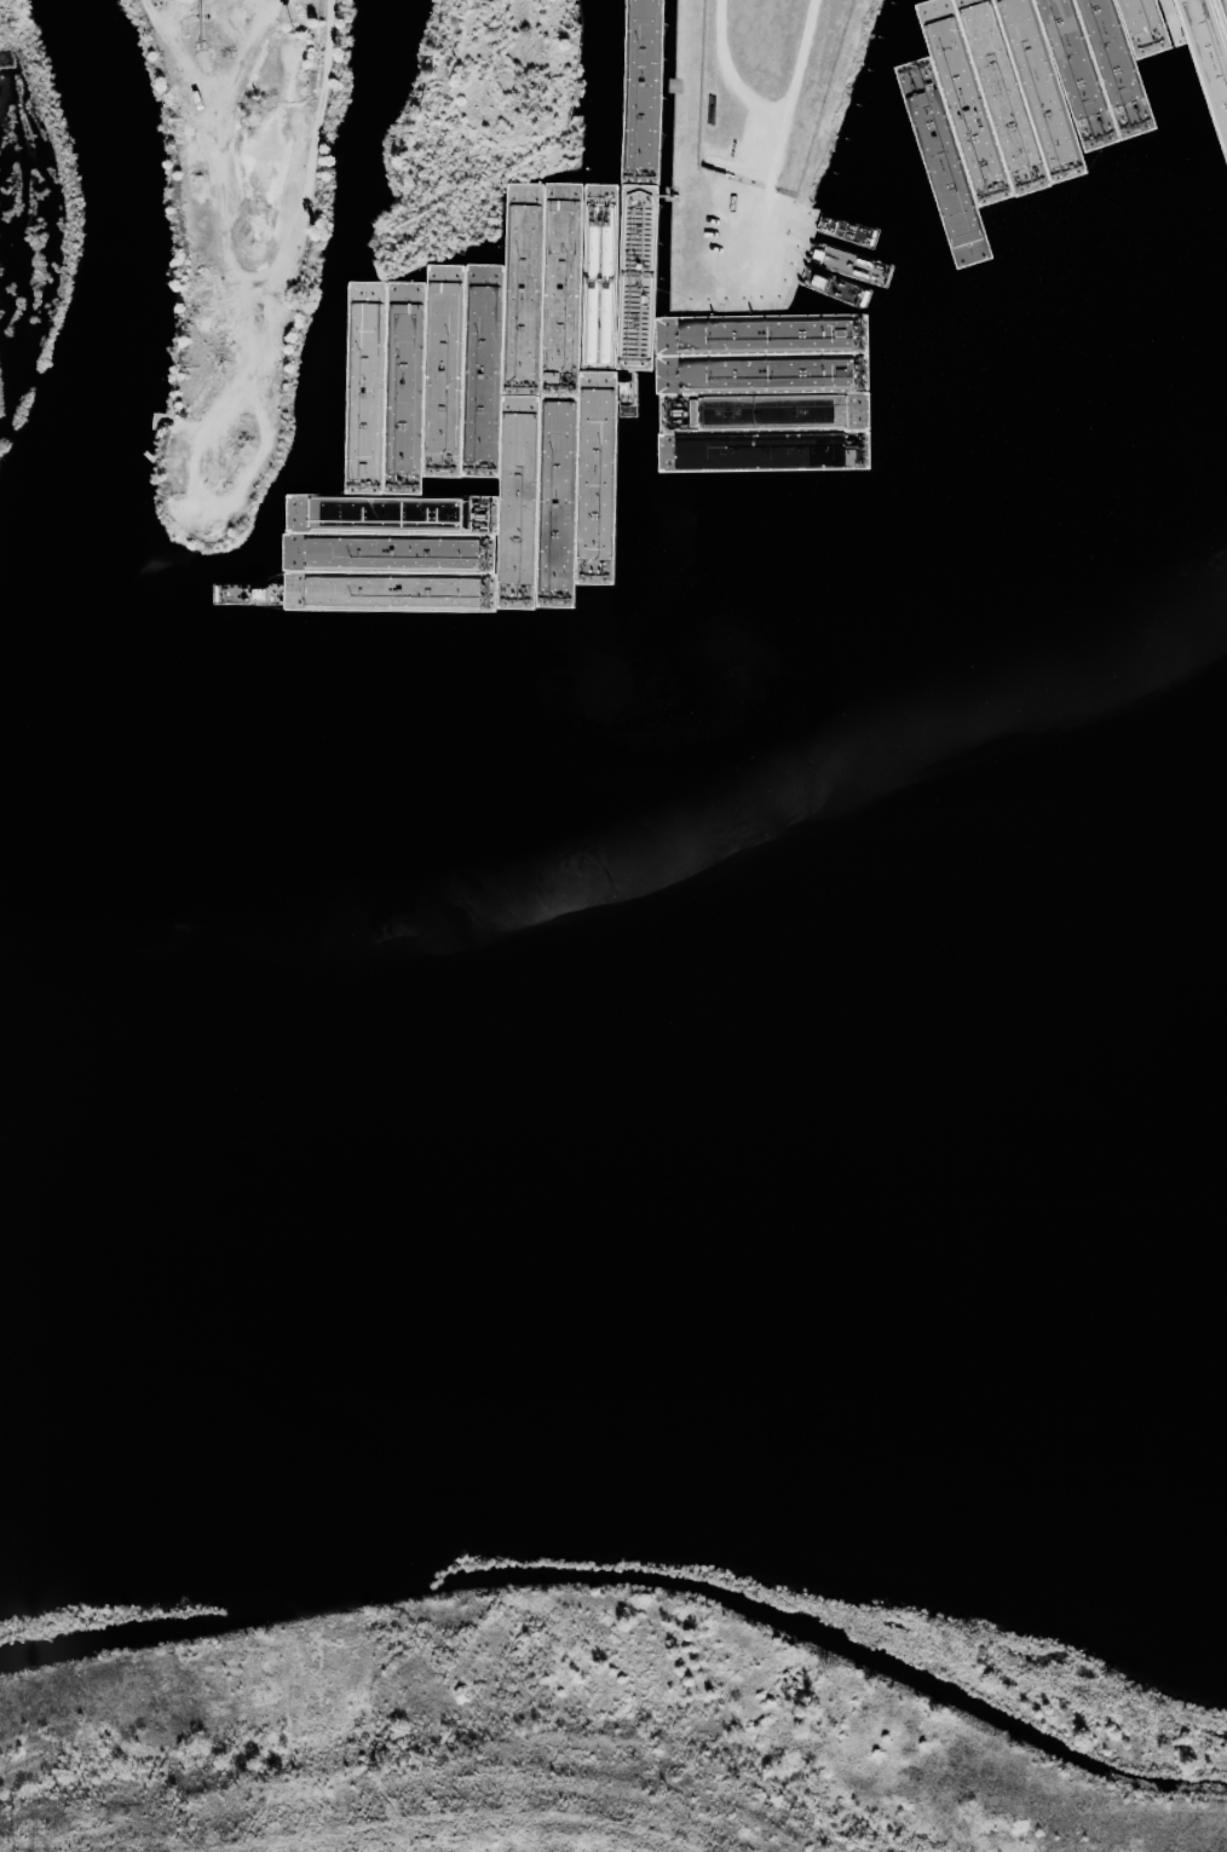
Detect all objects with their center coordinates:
road: (727, 71)
road: (503, 83)
road: (777, 145)
road: (246, 198)
landfill: (685, 1804)

